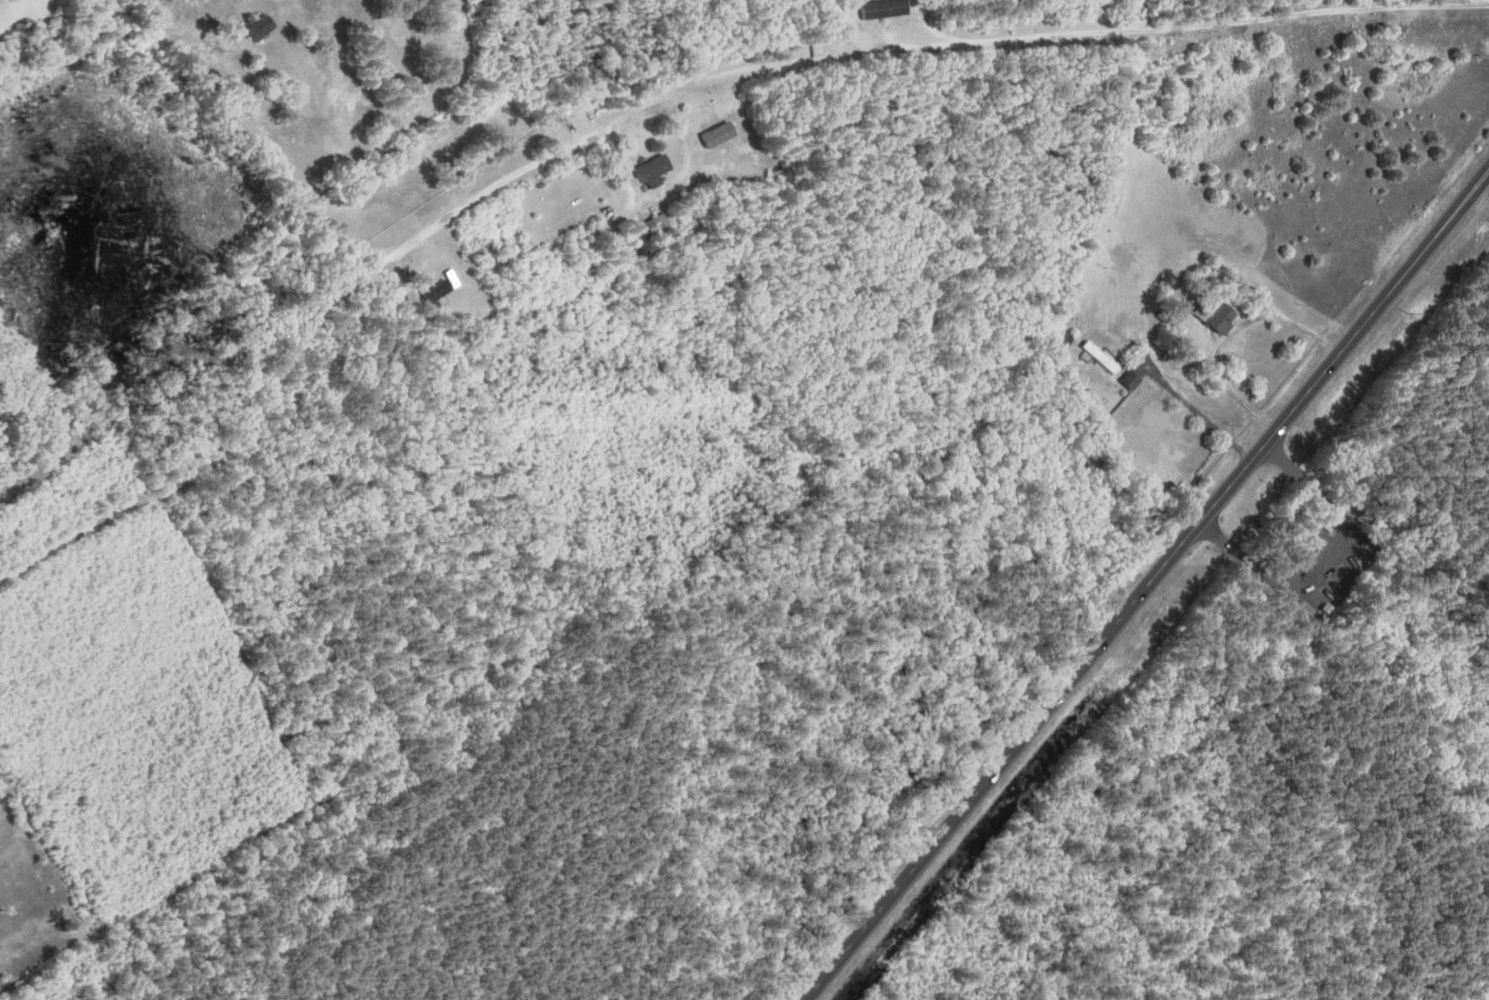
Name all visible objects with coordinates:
building: (885, 9)
building: (261, 26)
road: (661, 91)
building: (657, 172)
building: (661, 227)
building: (438, 289)
building: (1219, 316)
building: (1102, 358)
building: (1133, 380)
road: (1147, 586)

